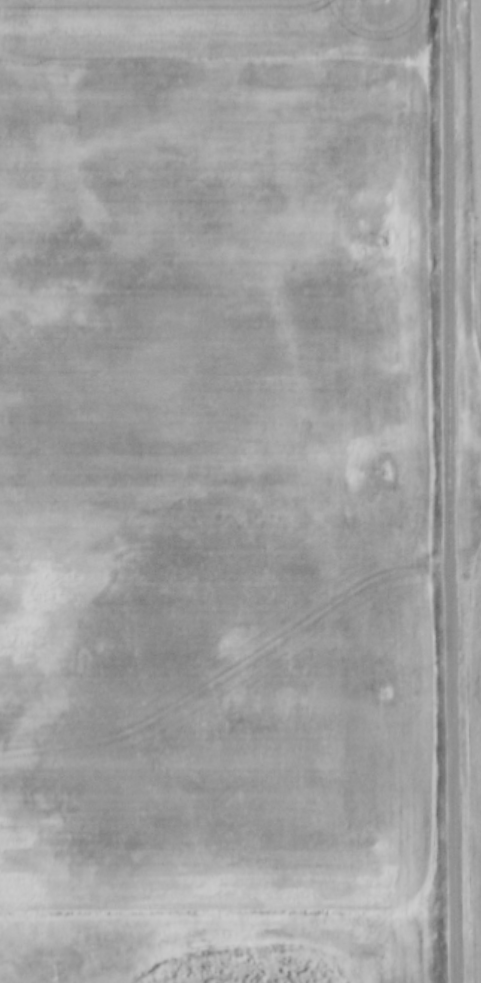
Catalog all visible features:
road: (448, 491)

